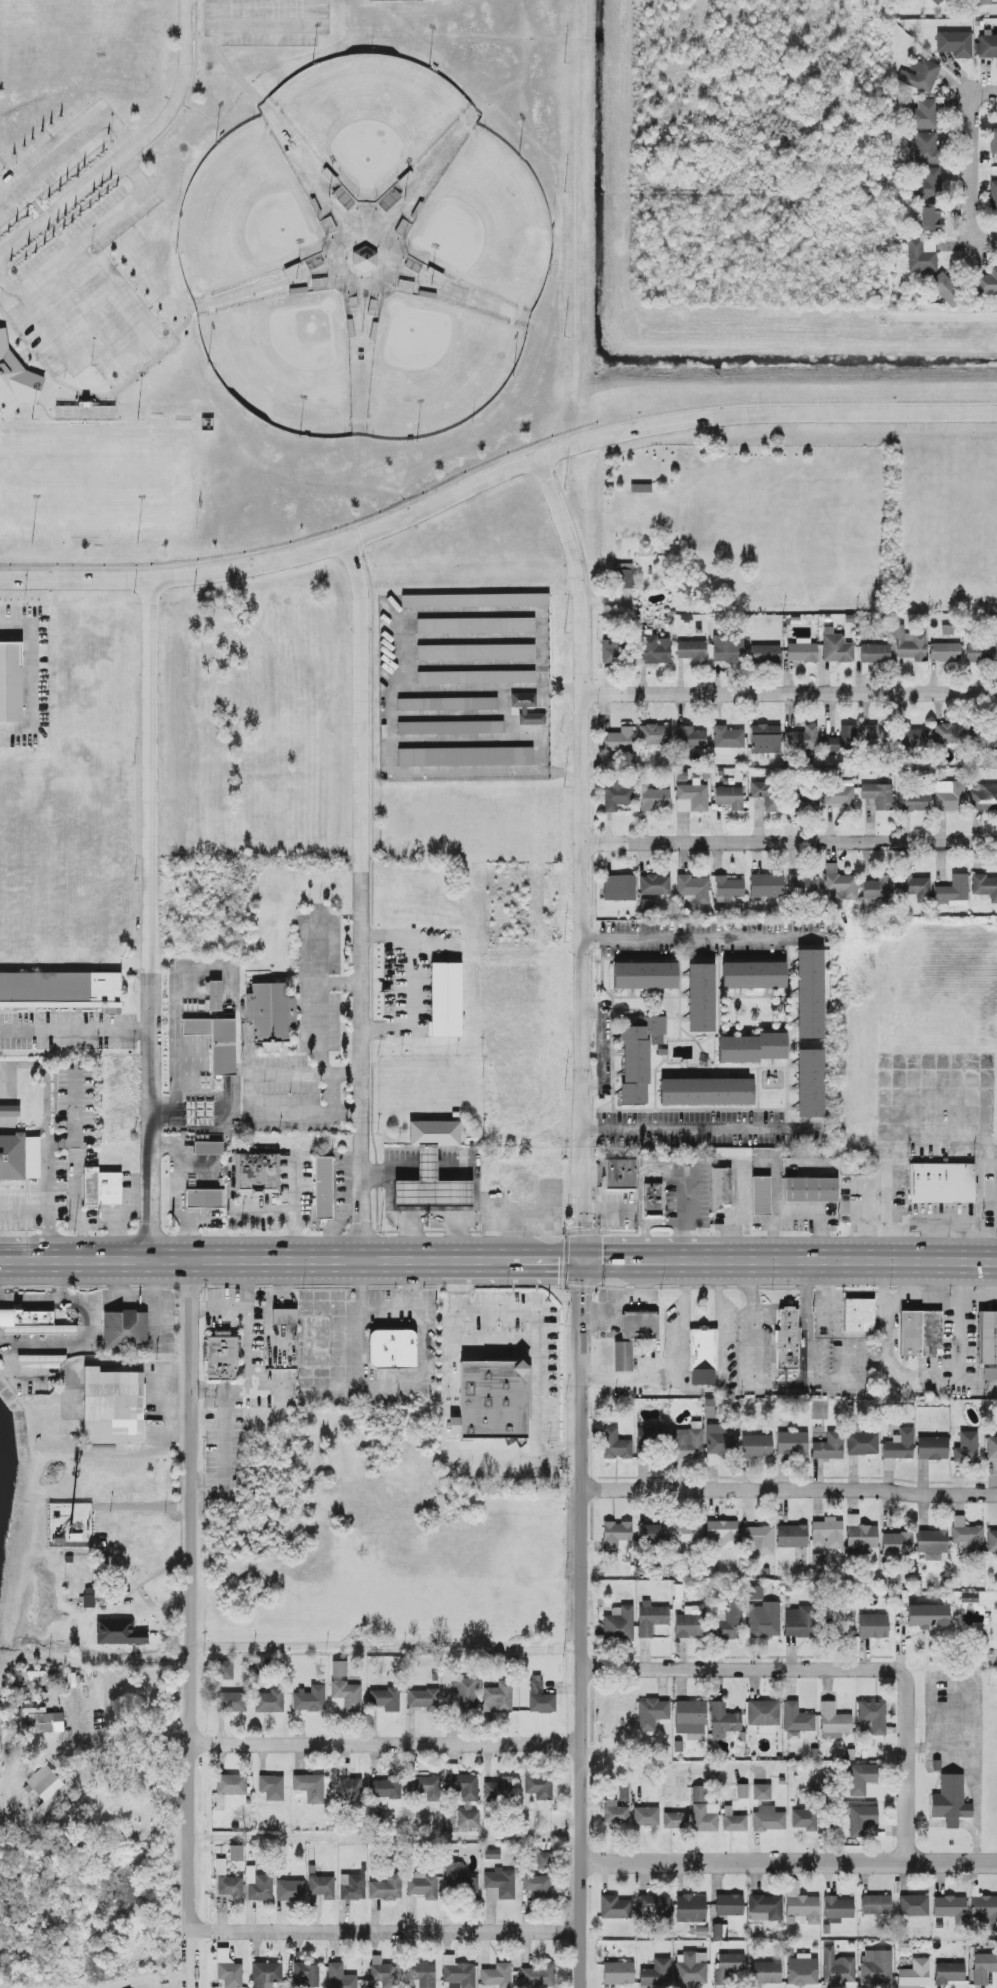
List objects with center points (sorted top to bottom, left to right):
street lamp: (453, 0)
building: (937, 2)
building: (983, 2)
road: (266, 26)
building: (955, 44)
building: (987, 46)
street lamp: (314, 65)
street lamp: (430, 70)
building: (920, 75)
road: (251, 93)
road: (992, 95)
building: (924, 115)
park: (369, 117)
building: (993, 142)
road: (69, 145)
building: (925, 148)
road: (130, 149)
road: (973, 153)
street lamp: (520, 158)
building: (929, 183)
building: (993, 196)
street lamp: (329, 199)
street lamp: (404, 202)
road: (35, 205)
park: (243, 215)
building: (930, 217)
park: (487, 223)
road: (365, 225)
road: (96, 229)
road: (980, 236)
road: (338, 251)
road: (390, 251)
road: (377, 253)
building: (921, 255)
building: (364, 259)
street lamp: (552, 268)
road: (348, 281)
street lamp: (296, 282)
road: (380, 283)
building: (987, 283)
street lamp: (431, 285)
building: (945, 287)
road: (255, 290)
road: (111, 293)
road: (81, 316)
road: (46, 328)
street lamp: (362, 333)
road: (133, 351)
park: (285, 361)
street lamp: (208, 366)
park: (436, 366)
road: (100, 369)
building: (16, 376)
street lamp: (514, 378)
road: (91, 394)
building: (65, 411)
road: (85, 420)
street lamp: (33, 422)
street lamp: (138, 422)
street lamp: (300, 440)
street lamp: (417, 443)
road: (493, 476)
park: (95, 482)
street lamp: (137, 543)
street lamp: (33, 545)
building: (624, 575)
building: (475, 601)
road: (504, 610)
building: (475, 626)
road: (462, 639)
building: (909, 644)
building: (835, 647)
building: (727, 649)
building: (653, 650)
building: (611, 651)
building: (692, 651)
building: (802, 651)
building: (475, 652)
building: (944, 652)
building: (874, 653)
building: (765, 654)
building: (979, 654)
road: (463, 665)
road: (30, 677)
building: (476, 677)
building: (10, 682)
road: (560, 687)
road: (463, 688)
road: (788, 697)
road: (503, 701)
building: (447, 704)
building: (523, 711)
road: (460, 715)
building: (451, 727)
building: (949, 734)
building: (654, 735)
building: (871, 736)
building: (690, 738)
building: (912, 738)
building: (726, 739)
building: (765, 739)
building: (803, 739)
road: (479, 740)
building: (619, 740)
building: (842, 741)
building: (985, 741)
building: (463, 757)
road: (399, 773)
building: (694, 795)
building: (767, 795)
building: (878, 795)
building: (616, 796)
building: (839, 796)
building: (949, 796)
building: (729, 797)
building: (984, 797)
building: (654, 799)
building: (914, 801)
building: (804, 802)
building: (682, 806)
road: (789, 845)
building: (839, 882)
building: (654, 885)
building: (766, 885)
building: (728, 887)
building: (802, 887)
building: (984, 887)
building: (619, 888)
building: (694, 888)
building: (877, 888)
building: (915, 888)
building: (952, 891)
road: (362, 900)
building: (646, 905)
road: (152, 921)
road: (700, 938)
building: (753, 975)
building: (645, 976)
road: (412, 982)
road: (340, 984)
building: (60, 990)
road: (319, 991)
building: (810, 994)
building: (213, 996)
building: (701, 997)
building: (445, 999)
building: (270, 1013)
road: (76, 1031)
building: (215, 1043)
building: (752, 1048)
building: (638, 1058)
building: (810, 1083)
building: (707, 1092)
road: (249, 1093)
building: (9, 1110)
road: (701, 1129)
road: (62, 1141)
building: (208, 1147)
road: (932, 1147)
building: (19, 1157)
road: (424, 1158)
road: (440, 1163)
road: (411, 1164)
building: (432, 1169)
building: (256, 1173)
building: (619, 1174)
road: (448, 1182)
building: (941, 1182)
road: (407, 1185)
building: (101, 1187)
building: (323, 1187)
building: (720, 1187)
building: (811, 1189)
road: (173, 1195)
building: (760, 1195)
road: (639, 1196)
building: (204, 1198)
building: (652, 1199)
road: (263, 1204)
road: (293, 1206)
road: (775, 1206)
road: (502, 1208)
building: (844, 1208)
road: (49, 1212)
road: (739, 1214)
road: (819, 1217)
road: (686, 1218)
road: (583, 1220)
road: (663, 1222)
road: (449, 1228)
road: (407, 1230)
road: (491, 1235)
road: (498, 1262)
traffic signals: (583, 1263)
road: (65, 1278)
building: (859, 1314)
building: (283, 1316)
road: (92, 1317)
road: (678, 1319)
building: (32, 1323)
building: (640, 1324)
road: (719, 1327)
building: (125, 1329)
building: (920, 1333)
building: (987, 1337)
building: (786, 1338)
road: (536, 1341)
building: (392, 1348)
building: (221, 1356)
building: (623, 1356)
building: (702, 1356)
building: (41, 1360)
building: (990, 1374)
road: (630, 1379)
road: (693, 1389)
building: (492, 1399)
building: (113, 1406)
building: (650, 1440)
building: (861, 1442)
building: (719, 1443)
building: (792, 1443)
building: (686, 1444)
building: (615, 1445)
building: (899, 1445)
building: (756, 1446)
building: (829, 1447)
building: (932, 1448)
building: (966, 1448)
building: (991, 1448)
building: (888, 1464)
road: (790, 1489)
building: (652, 1533)
building: (686, 1533)
building: (723, 1533)
building: (827, 1533)
building: (967, 1534)
building: (616, 1536)
building: (791, 1536)
building: (860, 1536)
building: (760, 1540)
building: (991, 1541)
building: (932, 1543)
building: (897, 1544)
building: (755, 1592)
road: (192, 1595)
building: (88, 1598)
building: (969, 1598)
building: (928, 1615)
building: (651, 1618)
building: (764, 1620)
building: (728, 1622)
building: (799, 1622)
building: (688, 1623)
building: (618, 1624)
building: (872, 1626)
building: (119, 1632)
road: (387, 1647)
building: (339, 1668)
road: (741, 1669)
building: (226, 1670)
building: (462, 1696)
building: (345, 1697)
building: (540, 1697)
building: (498, 1698)
building: (309, 1699)
building: (385, 1699)
building: (423, 1700)
building: (269, 1701)
building: (231, 1702)
building: (651, 1713)
building: (299, 1715)
building: (763, 1715)
building: (873, 1715)
building: (690, 1719)
building: (723, 1720)
building: (796, 1721)
building: (833, 1722)
building: (45, 1723)
road: (388, 1742)
road: (661, 1765)
road: (906, 1766)
road: (975, 1773)
building: (861, 1779)
building: (231, 1784)
building: (463, 1786)
building: (538, 1786)
building: (271, 1787)
building: (310, 1787)
building: (424, 1787)
building: (386, 1788)
building: (45, 1789)
building: (348, 1790)
building: (500, 1791)
building: (761, 1792)
building: (623, 1793)
building: (681, 1793)
building: (950, 1800)
building: (703, 1811)
building: (376, 1813)
building: (615, 1813)
building: (646, 1816)
building: (468, 1819)
building: (768, 1819)
building: (804, 1819)
building: (675, 1820)
building: (733, 1821)
building: (863, 1821)
road: (387, 1839)
building: (236, 1853)
building: (542, 1860)
road: (789, 1864)
building: (459, 1881)
building: (227, 1882)
building: (258, 1885)
building: (499, 1885)
building: (422, 1886)
building: (537, 1886)
building: (322, 1887)
building: (352, 1887)
building: (386, 1888)
building: (290, 1890)
building: (801, 1904)
building: (729, 1905)
building: (876, 1905)
building: (914, 1905)
building: (614, 1907)
building: (654, 1907)
building: (690, 1908)
building: (765, 1908)
building: (838, 1908)
building: (951, 1908)
building: (983, 1908)
road: (386, 1930)
building: (718, 1931)
road: (192, 1958)
building: (728, 1967)
building: (876, 1967)
building: (837, 1968)
building: (983, 1968)
building: (691, 1969)
building: (228, 1970)
building: (802, 1970)
building: (384, 1973)
building: (458, 1973)
building: (618, 1973)
building: (764, 1973)
building: (948, 1973)
building: (266, 1974)
building: (422, 1974)
building: (656, 1974)
building: (914, 1974)
building: (305, 1975)
building: (496, 1976)
building: (539, 1976)
building: (340, 1977)

